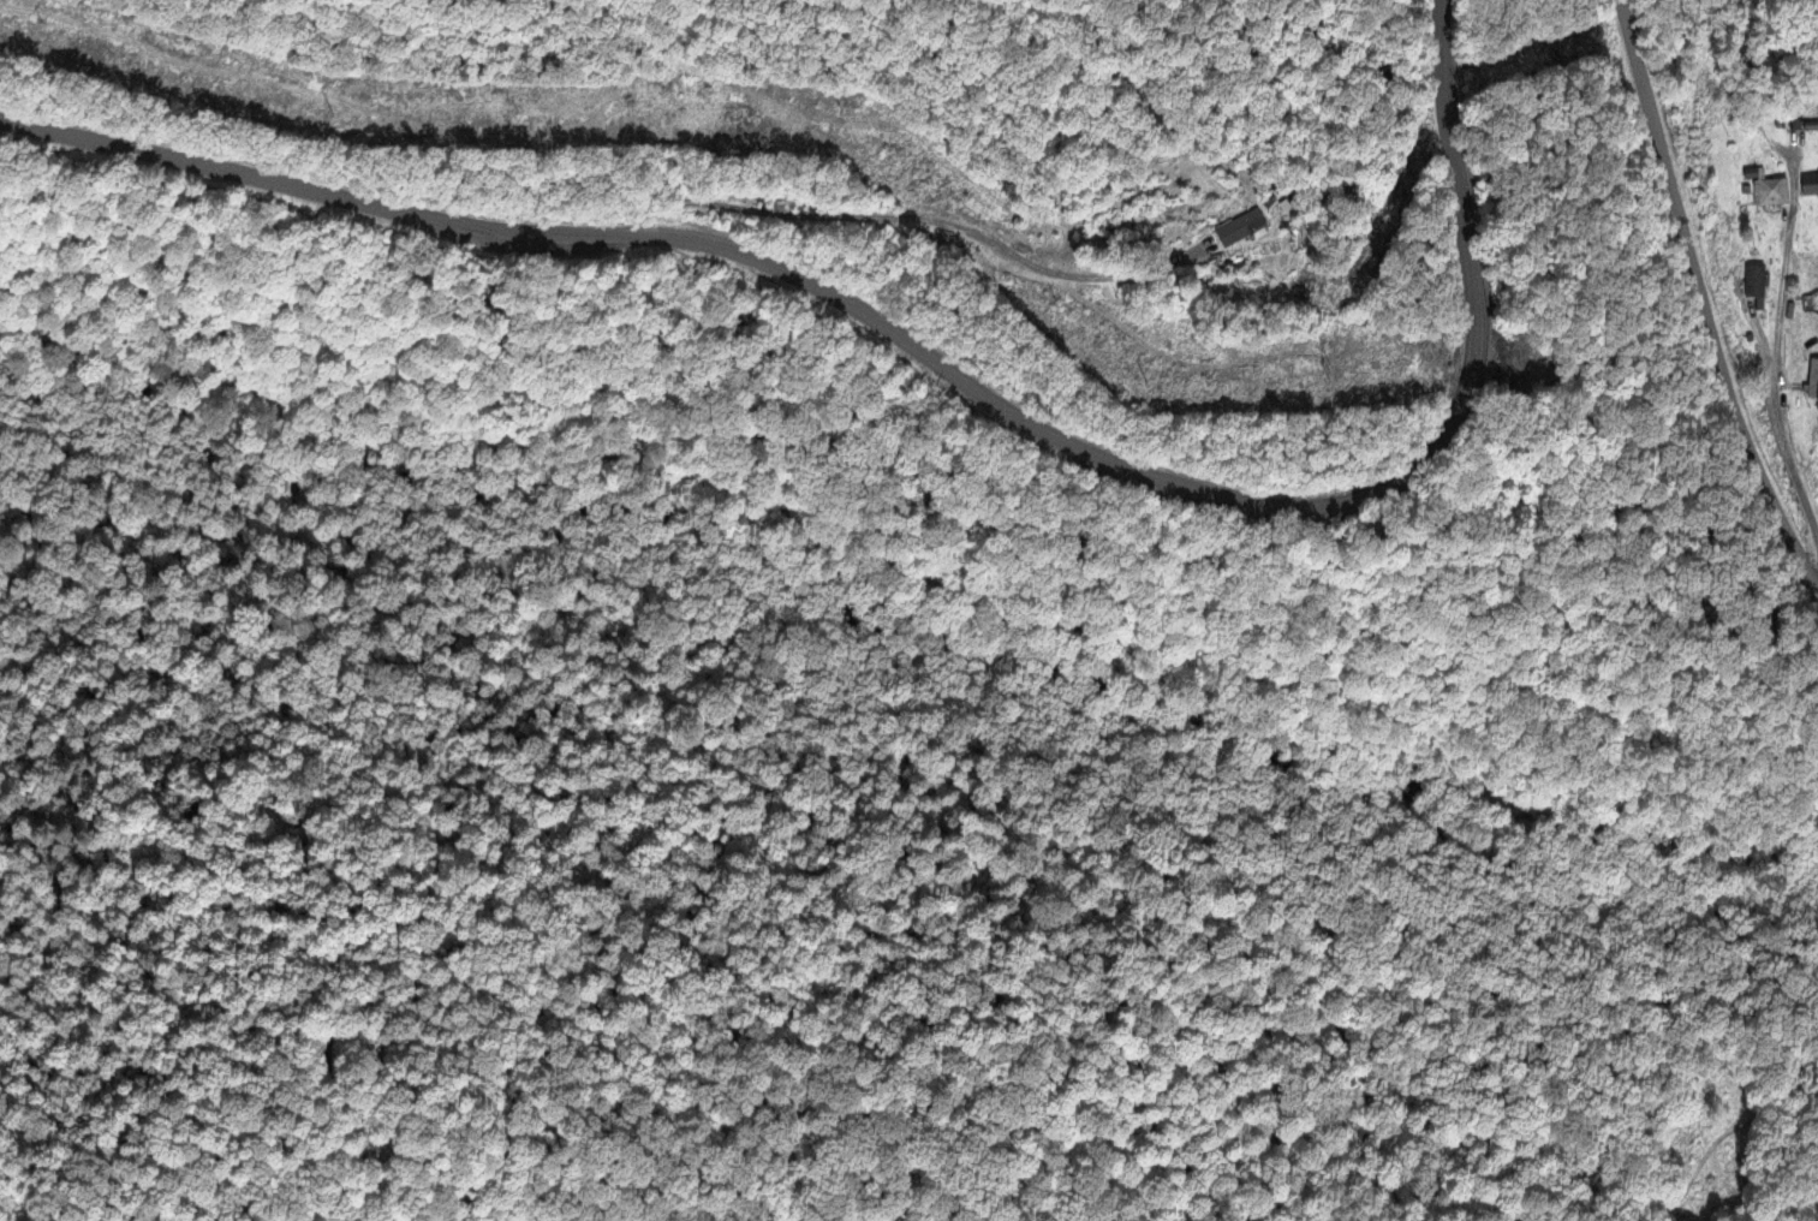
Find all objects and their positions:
building: (1796, 121)
building: (1807, 184)
building: (1769, 190)
road: (904, 222)
building: (1226, 226)
building: (1753, 280)
road: (1704, 286)
road: (1782, 345)
road: (946, 373)
building: (1812, 376)

